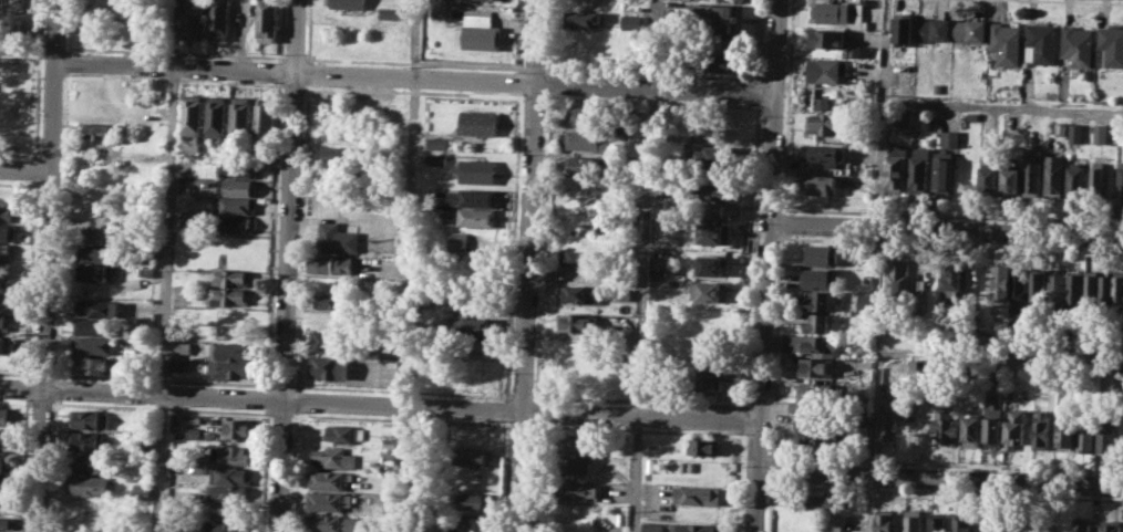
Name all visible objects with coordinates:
road: (1091, 1)
building: (350, 3)
building: (443, 10)
building: (390, 12)
building: (833, 12)
building: (713, 18)
building: (218, 19)
building: (584, 19)
building: (267, 20)
building: (194, 21)
building: (630, 21)
road: (69, 25)
building: (904, 27)
building: (934, 29)
road: (280, 30)
road: (308, 30)
building: (970, 30)
building: (132, 35)
building: (482, 35)
road: (521, 35)
road: (549, 35)
building: (828, 38)
road: (758, 40)
building: (1006, 42)
building: (1040, 43)
building: (719, 44)
building: (1076, 46)
building: (1111, 46)
road: (28, 51)
road: (176, 51)
road: (292, 56)
road: (68, 61)
road: (413, 62)
building: (717, 63)
road: (534, 69)
building: (827, 70)
road: (279, 71)
road: (307, 71)
road: (649, 72)
road: (414, 77)
road: (175, 81)
road: (519, 82)
road: (547, 82)
road: (291, 86)
building: (936, 87)
road: (411, 91)
road: (756, 91)
road: (38, 95)
road: (532, 96)
road: (648, 101)
road: (786, 104)
road: (1003, 105)
road: (883, 113)
building: (192, 114)
building: (215, 115)
building: (586, 115)
building: (239, 116)
building: (264, 117)
building: (903, 117)
building: (824, 122)
building: (480, 123)
building: (1060, 127)
building: (99, 129)
building: (1074, 132)
building: (1100, 132)
building: (633, 133)
building: (1122, 136)
building: (949, 138)
building: (583, 140)
building: (436, 142)
building: (821, 152)
building: (268, 154)
building: (334, 155)
building: (714, 156)
road: (35, 157)
building: (436, 158)
building: (583, 165)
building: (895, 167)
road: (35, 169)
building: (239, 169)
building: (918, 170)
road: (25, 171)
building: (478, 171)
building: (1031, 171)
building: (941, 173)
building: (1053, 174)
building: (1096, 177)
building: (1074, 178)
building: (989, 179)
building: (1010, 180)
road: (17, 184)
building: (820, 184)
building: (1120, 185)
building: (239, 187)
building: (711, 191)
building: (473, 197)
building: (93, 198)
road: (411, 202)
building: (235, 205)
building: (711, 209)
building: (7, 212)
road: (951, 215)
building: (471, 216)
building: (94, 217)
road: (781, 221)
building: (188, 223)
building: (233, 223)
road: (62, 225)
road: (946, 228)
building: (7, 231)
building: (713, 232)
building: (96, 234)
road: (272, 234)
road: (301, 236)
building: (336, 238)
building: (472, 242)
road: (951, 243)
road: (513, 246)
road: (540, 247)
building: (7, 251)
building: (97, 253)
road: (750, 254)
building: (822, 254)
building: (579, 258)
building: (661, 260)
building: (868, 263)
building: (334, 264)
building: (710, 264)
road: (48, 265)
road: (167, 265)
road: (286, 265)
road: (527, 265)
road: (643, 265)
road: (767, 265)
building: (4, 269)
building: (95, 272)
building: (898, 274)
building: (231, 277)
building: (817, 278)
road: (31, 279)
building: (952, 280)
building: (661, 281)
building: (1000, 281)
building: (1037, 285)
building: (1055, 286)
building: (1073, 286)
building: (1090, 286)
building: (1105, 288)
building: (1119, 288)
building: (1019, 289)
building: (708, 291)
building: (583, 292)
building: (919, 292)
building: (625, 293)
building: (228, 296)
building: (6, 298)
building: (333, 300)
building: (820, 301)
building: (865, 303)
building: (99, 309)
building: (231, 315)
building: (6, 322)
building: (577, 322)
building: (818, 322)
building: (473, 324)
building: (97, 327)
building: (329, 340)
building: (6, 344)
building: (810, 344)
building: (97, 345)
building: (476, 345)
building: (183, 346)
road: (775, 346)
building: (228, 351)
road: (878, 352)
road: (1001, 355)
building: (97, 364)
building: (181, 364)
building: (816, 365)
building: (328, 367)
building: (230, 369)
road: (16, 373)
road: (42, 373)
road: (162, 378)
building: (707, 383)
road: (281, 385)
road: (27, 387)
road: (55, 388)
road: (401, 389)
building: (813, 395)
road: (522, 396)
road: (267, 399)
road: (295, 399)
road: (637, 400)
road: (29, 403)
road: (40, 403)
road: (380, 403)
road: (158, 408)
road: (506, 409)
road: (535, 410)
building: (7, 414)
road: (279, 415)
building: (90, 418)
road: (400, 419)
road: (742, 419)
building: (893, 421)
building: (992, 423)
road: (518, 424)
road: (534, 424)
building: (946, 424)
building: (237, 428)
road: (632, 428)
building: (1016, 428)
building: (1041, 429)
building: (972, 430)
building: (818, 431)
building: (1065, 431)
road: (742, 432)
building: (344, 434)
building: (1085, 434)
building: (1106, 434)
building: (7, 437)
building: (91, 440)
building: (575, 441)
building: (390, 442)
building: (703, 446)
building: (234, 453)
building: (472, 456)
building: (334, 457)
building: (7, 459)
building: (388, 461)
road: (947, 461)
building: (93, 462)
road: (24, 465)
building: (575, 465)
building: (682, 465)
road: (53, 466)
road: (265, 470)
road: (292, 470)
road: (771, 471)
building: (145, 472)
building: (233, 474)
road: (503, 476)
building: (328, 479)
building: (4, 480)
road: (940, 480)
building: (90, 484)
building: (142, 489)
building: (578, 489)
road: (946, 491)
building: (233, 493)
building: (697, 494)
building: (7, 499)
building: (472, 499)
building: (815, 500)
building: (328, 501)
building: (91, 504)
road: (873, 504)
road: (770, 507)
building: (229, 510)
building: (885, 520)
building: (914, 520)
building: (832, 521)
building: (937, 522)
building: (7, 523)
building: (91, 523)
building: (332, 523)
building: (960, 524)
building: (1081, 524)
building: (226, 526)
building: (651, 526)
building: (693, 528)
building: (1111, 528)

